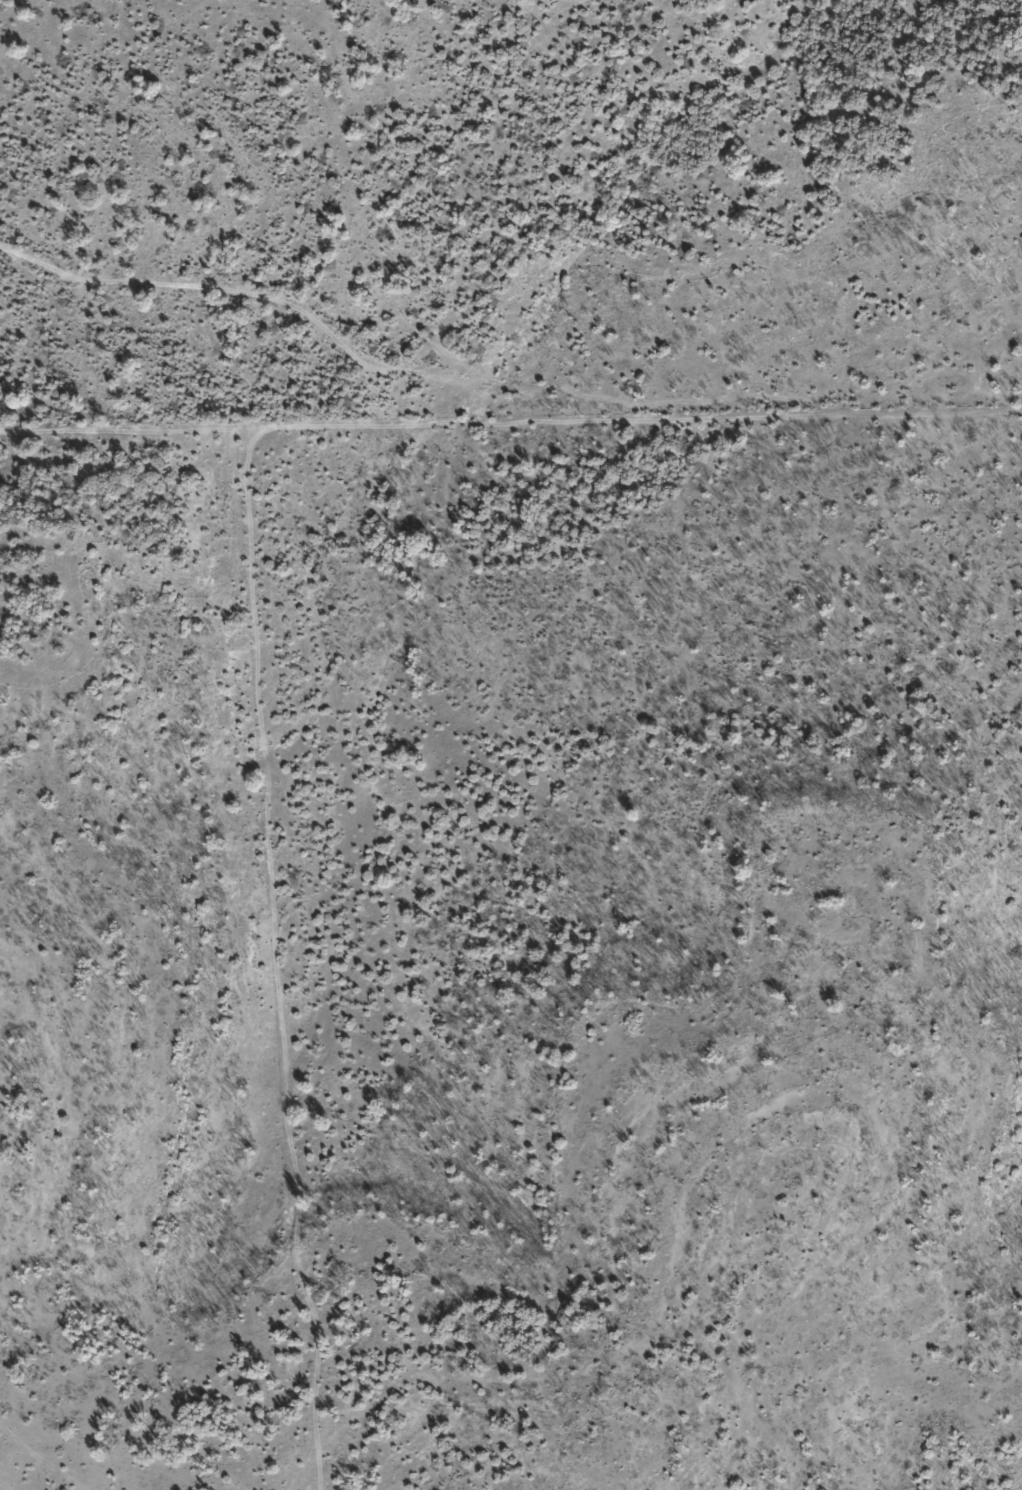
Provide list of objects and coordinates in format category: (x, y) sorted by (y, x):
road: (511, 412)

